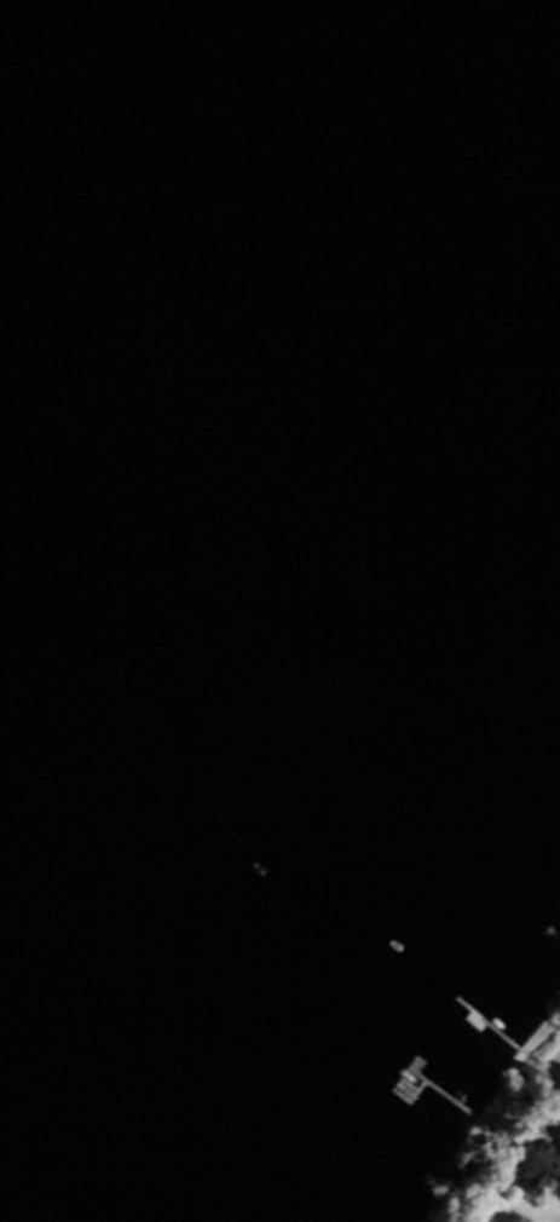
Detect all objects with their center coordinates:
building: (523, 1070)
building: (541, 1162)

